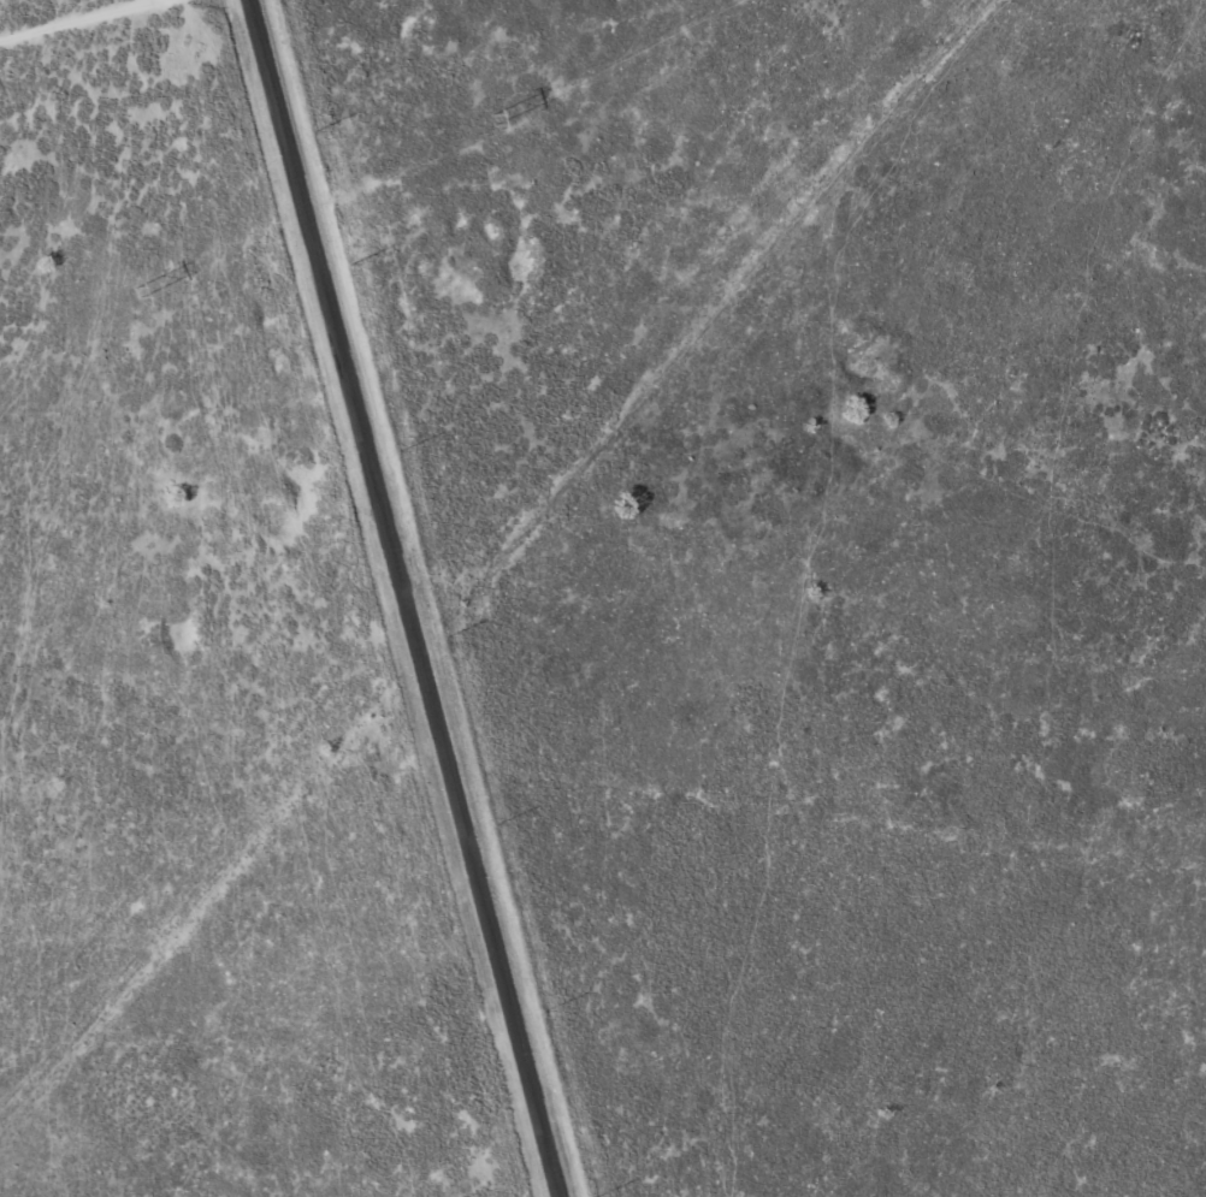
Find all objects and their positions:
road: (88, 25)
road: (268, 99)
power tower: (492, 117)
power tower: (137, 290)
road: (416, 698)

